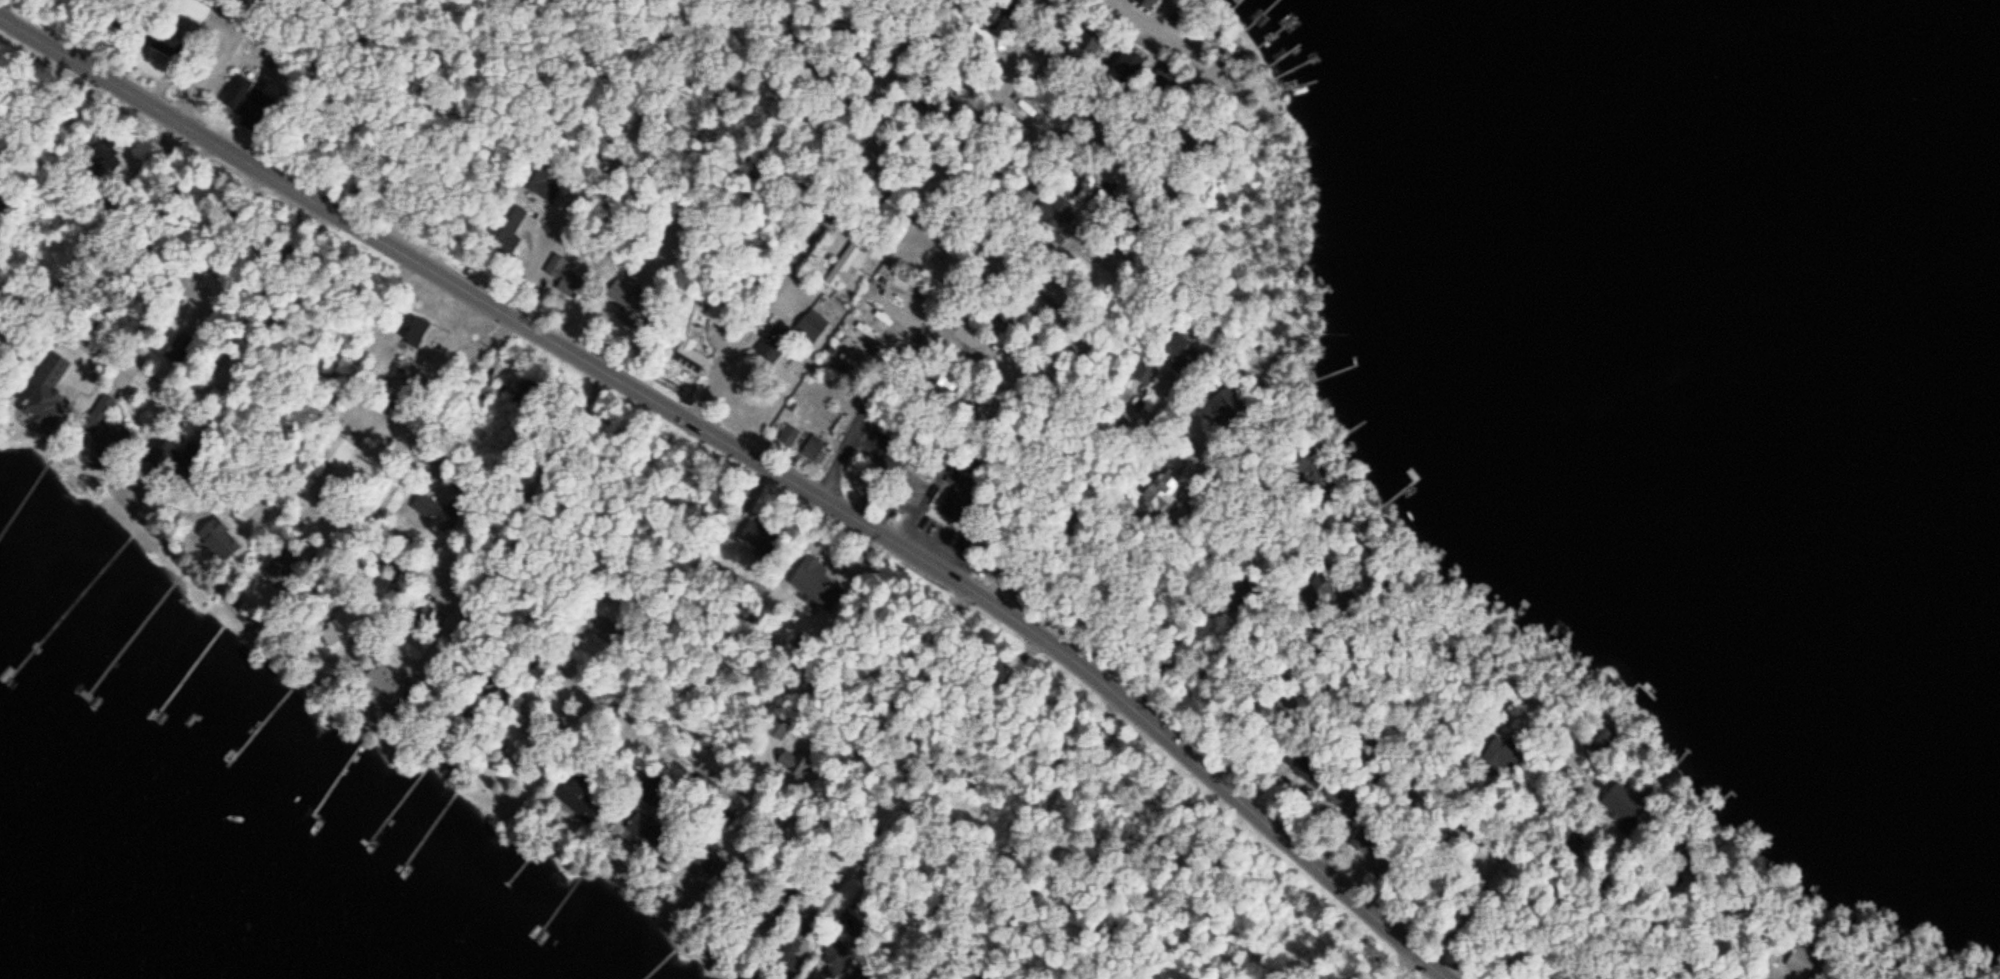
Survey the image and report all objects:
building: (1148, 3)
building: (190, 11)
road: (223, 60)
road: (414, 108)
road: (601, 150)
building: (538, 181)
road: (824, 204)
road: (113, 214)
building: (507, 226)
road: (983, 240)
building: (850, 262)
building: (554, 267)
road: (19, 290)
road: (257, 310)
building: (818, 322)
building: (1139, 375)
building: (46, 382)
building: (481, 395)
road: (431, 418)
building: (789, 437)
road: (741, 451)
building: (815, 451)
building: (338, 455)
building: (967, 502)
building: (425, 509)
road: (1077, 515)
road: (336, 566)
road: (1203, 644)
road: (582, 681)
road: (888, 710)
road: (956, 757)
building: (795, 763)
road: (832, 854)
road: (1497, 861)
road: (941, 926)
road: (1575, 927)
road: (1630, 931)
road: (1703, 948)
building: (1801, 964)
road: (1405, 965)
road: (1435, 971)

